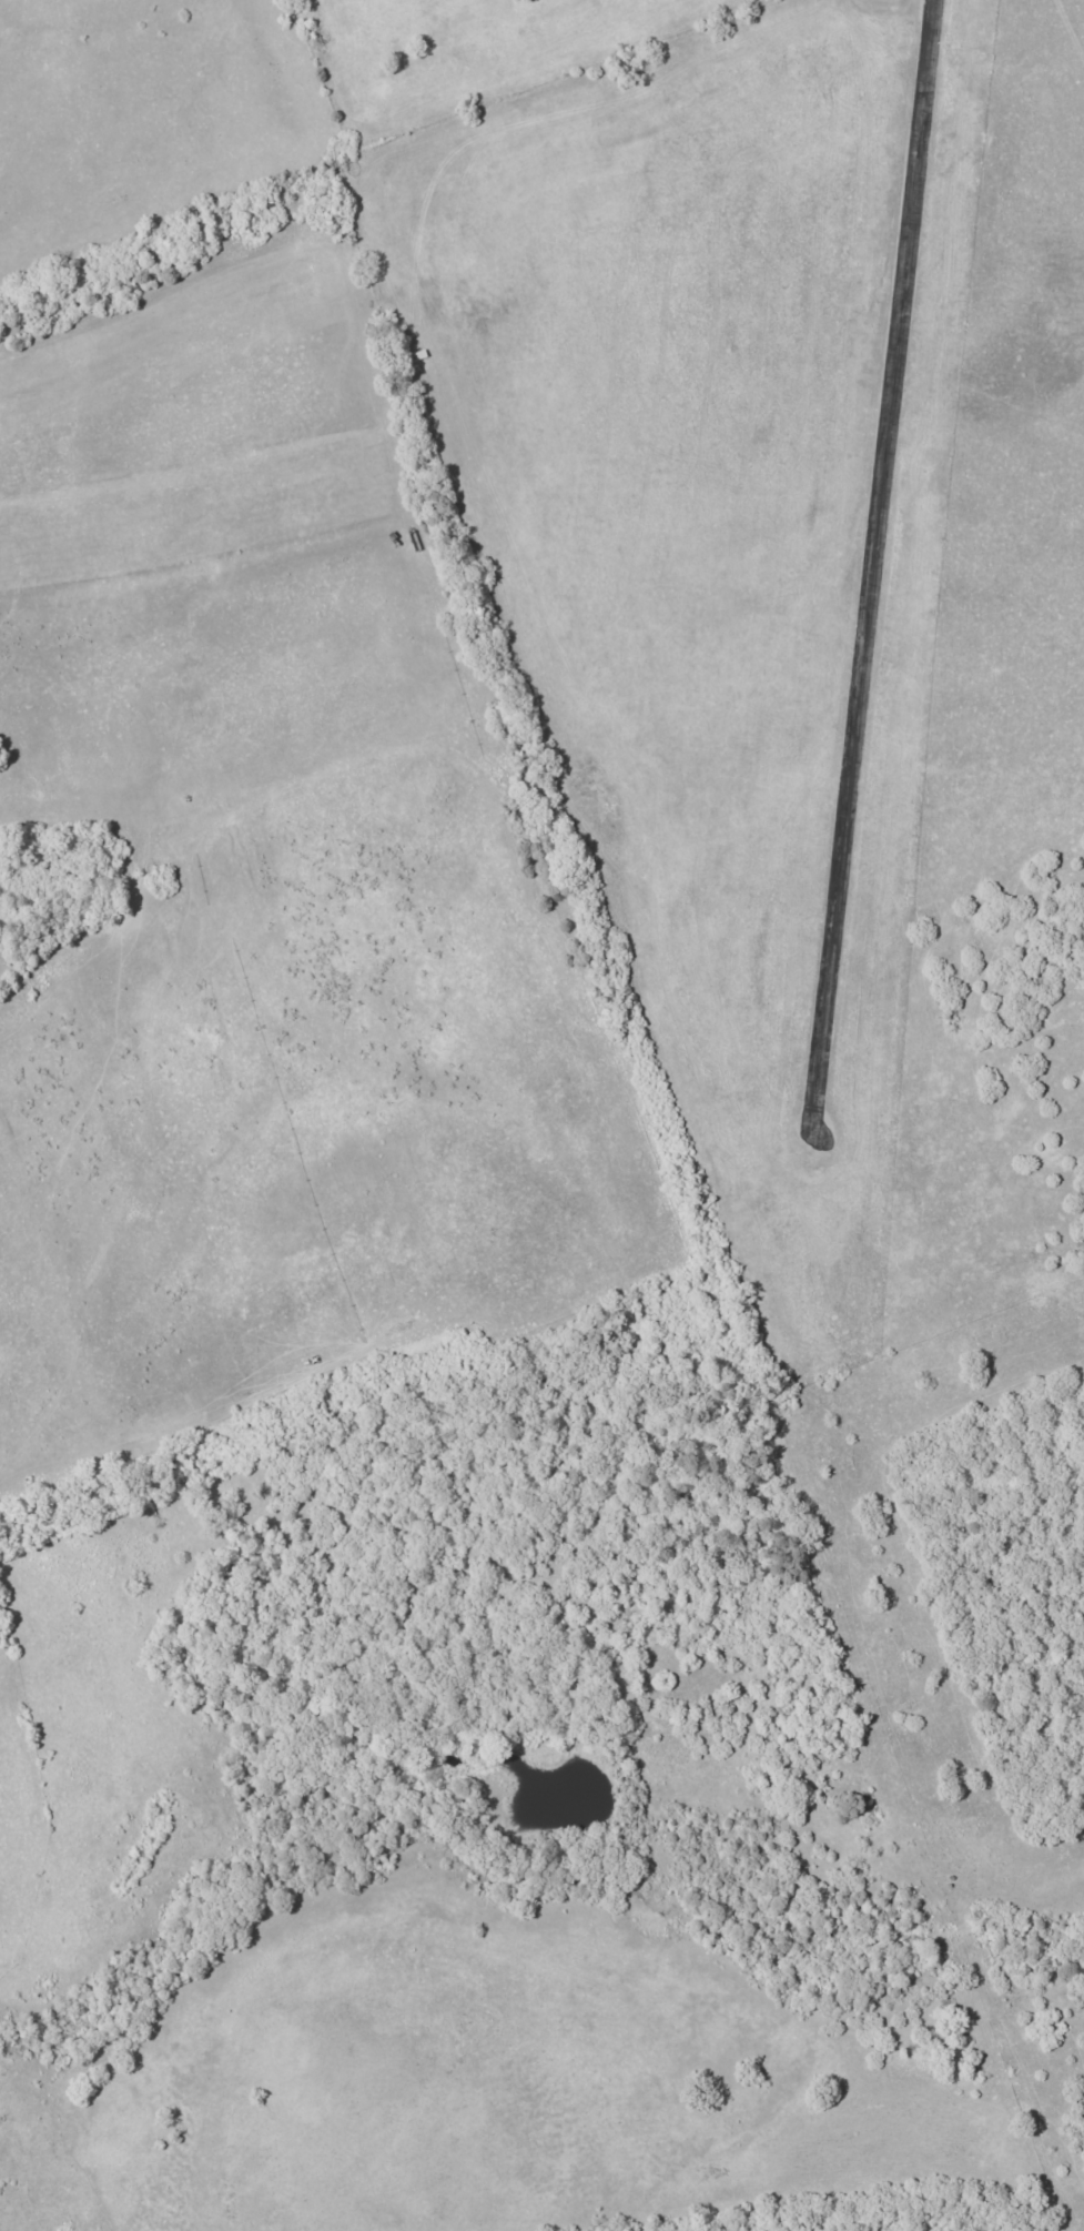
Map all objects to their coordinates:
airport runway: (868, 569)

